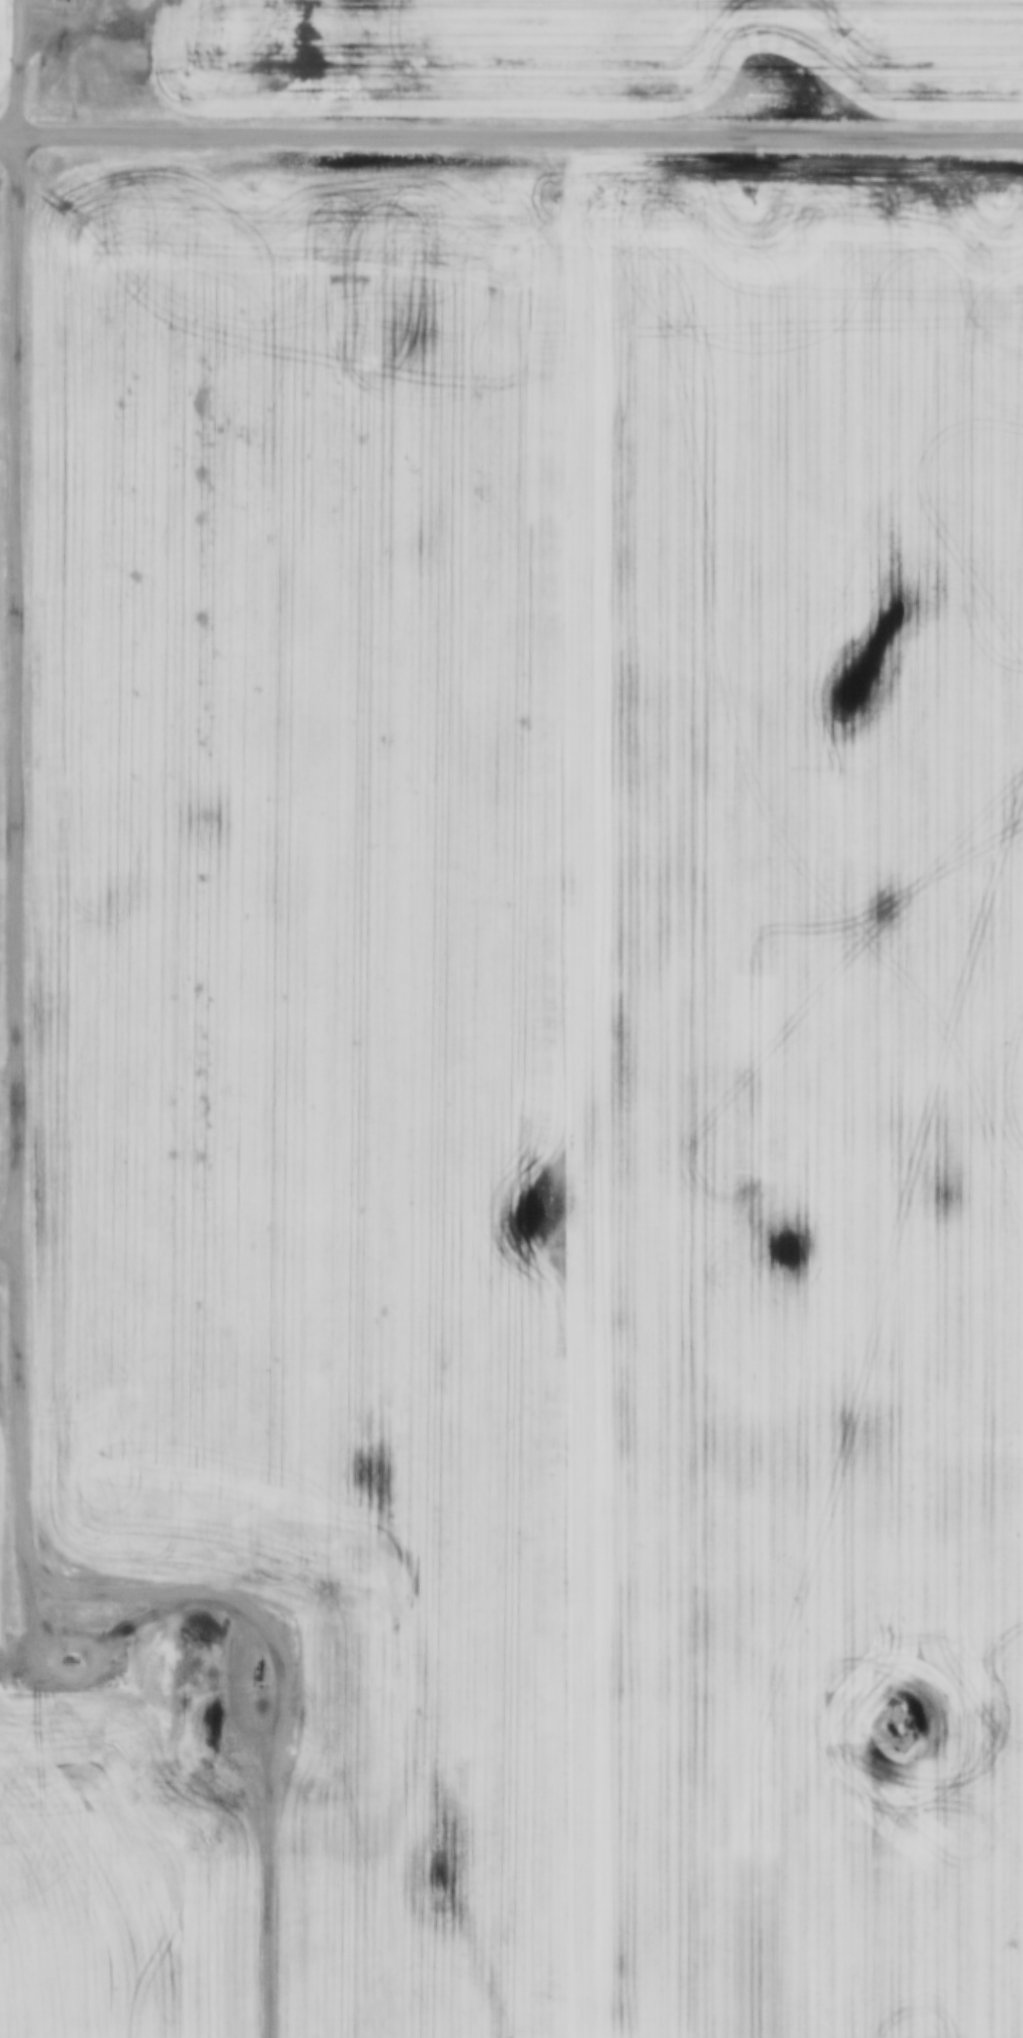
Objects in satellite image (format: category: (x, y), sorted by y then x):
road: (511, 129)
road: (17, 829)
road: (9, 1234)
road: (160, 1584)

